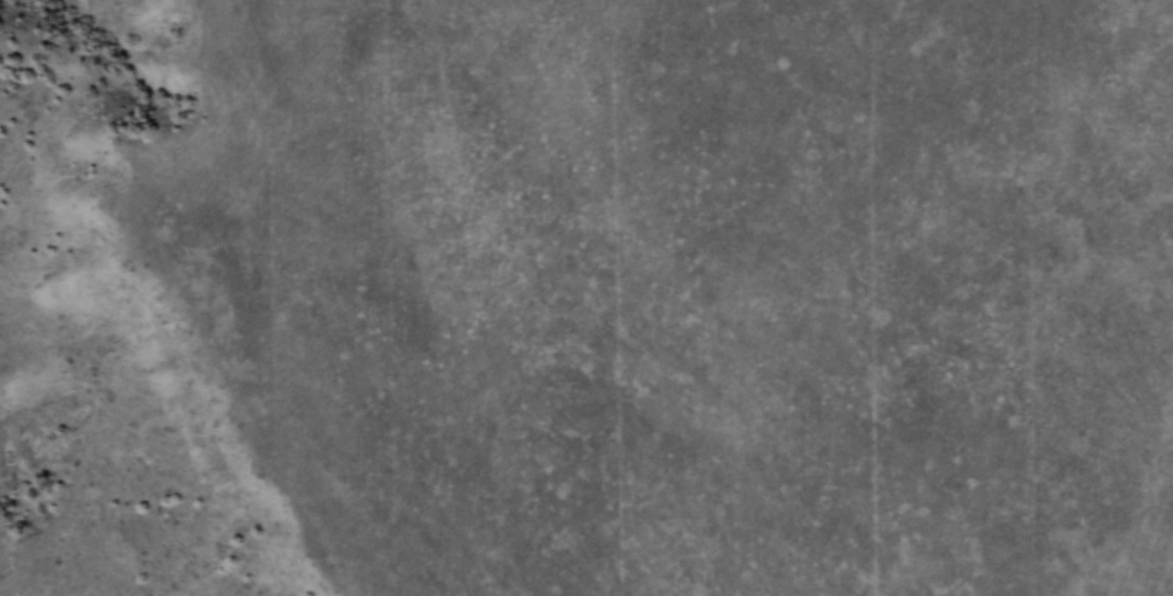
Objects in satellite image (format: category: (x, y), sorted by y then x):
road: (1151, 24)
road: (1150, 530)

